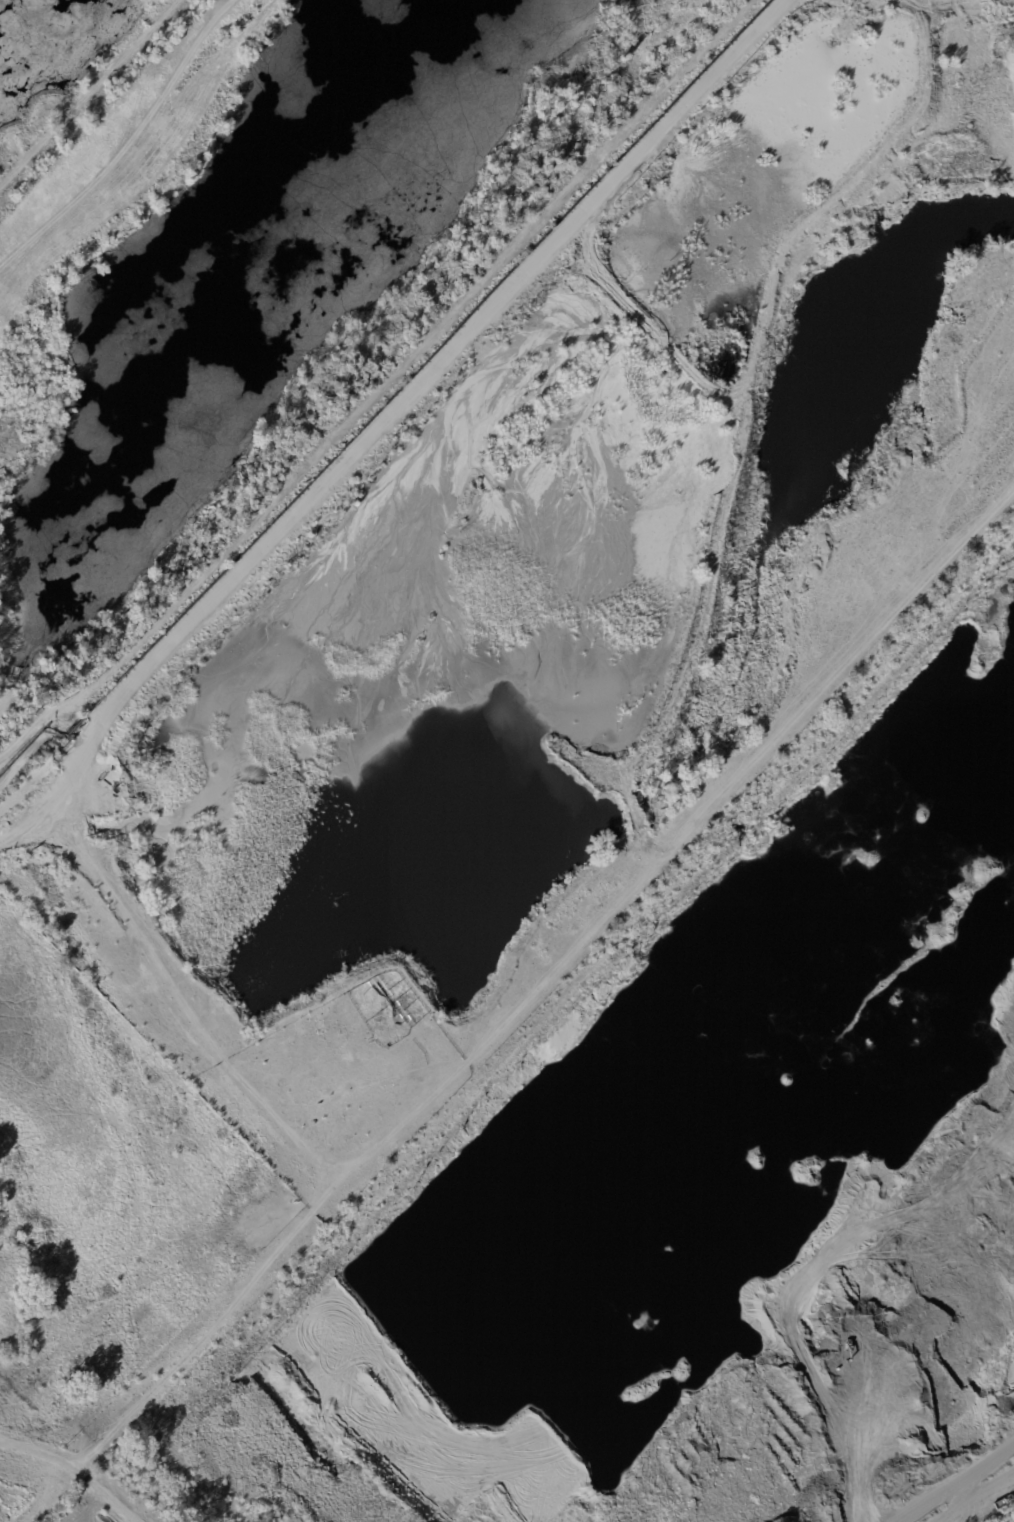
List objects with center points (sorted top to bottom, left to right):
road: (390, 415)
quarry: (493, 679)
building: (38, 713)
road: (545, 983)
road: (179, 1003)
road: (53, 1464)
road: (955, 1472)
road: (971, 1498)
road: (87, 1507)
road: (120, 1507)

